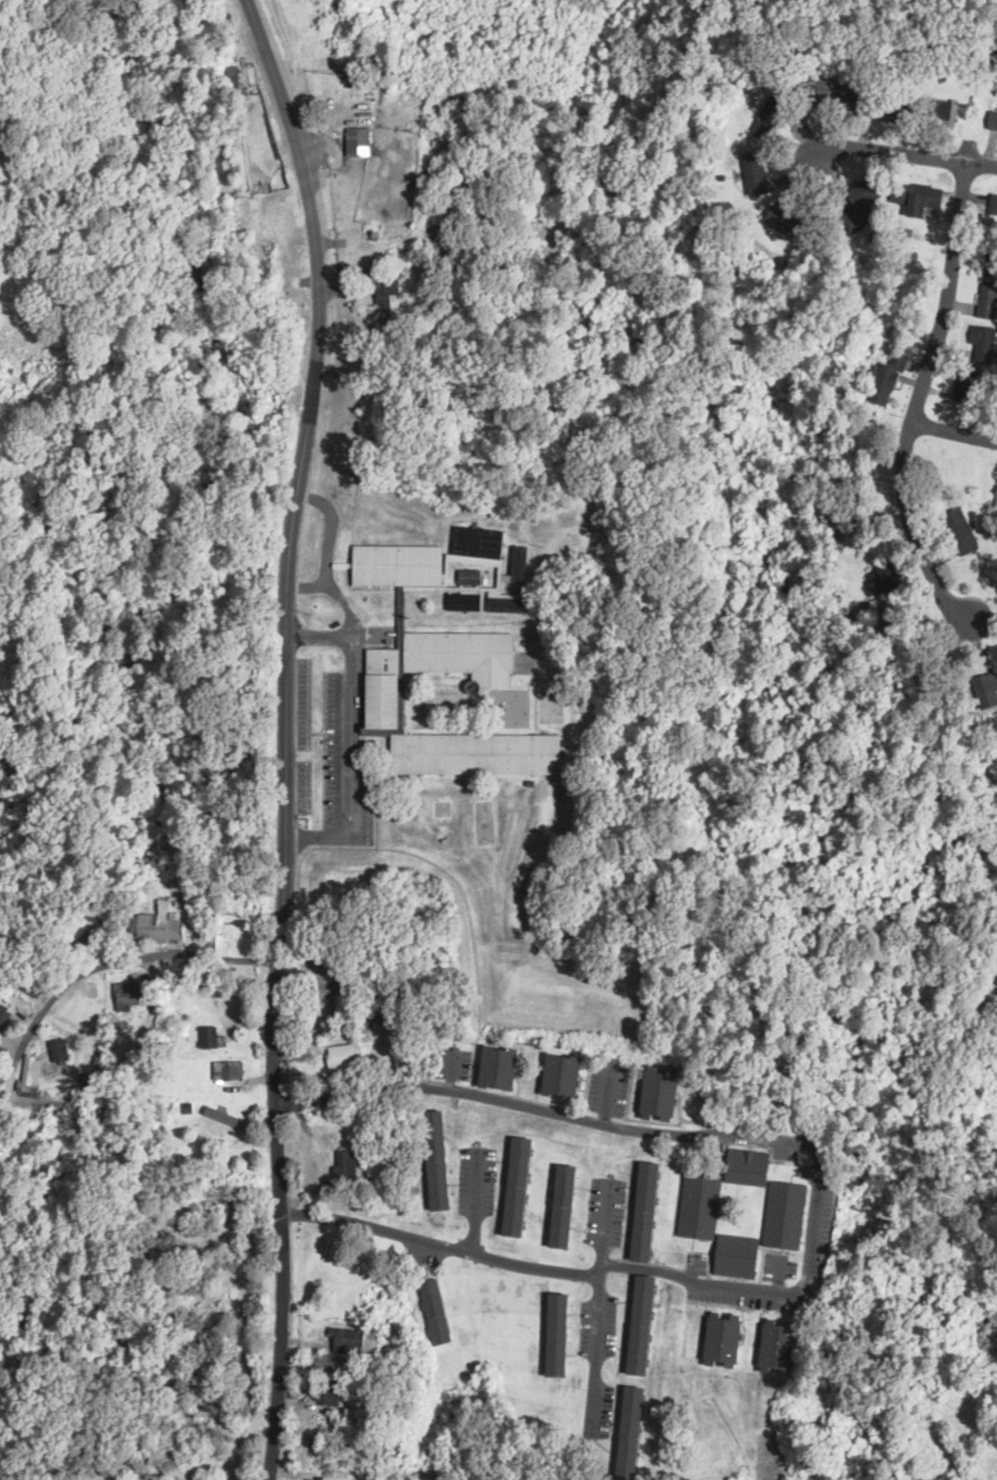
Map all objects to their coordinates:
building: (768, 116)
building: (360, 142)
road: (911, 156)
building: (756, 174)
building: (866, 195)
building: (927, 203)
building: (993, 205)
building: (40, 209)
building: (787, 222)
building: (991, 260)
building: (987, 300)
building: (975, 363)
building: (892, 381)
road: (920, 400)
road: (956, 430)
building: (962, 532)
building: (412, 573)
building: (386, 702)
road: (284, 734)
building: (158, 926)
road: (134, 980)
building: (36, 985)
building: (129, 993)
building: (6, 1017)
building: (209, 1037)
building: (61, 1049)
building: (343, 1055)
building: (499, 1067)
road: (449, 1069)
building: (227, 1071)
building: (562, 1074)
building: (34, 1075)
building: (86, 1081)
building: (661, 1093)
road: (603, 1094)
building: (226, 1119)
building: (438, 1160)
building: (346, 1166)
building: (519, 1187)
building: (772, 1196)
road: (472, 1202)
building: (697, 1204)
building: (564, 1206)
building: (646, 1212)
road: (814, 1212)
building: (739, 1256)
road: (779, 1278)
road: (595, 1309)
building: (560, 1314)
building: (434, 1316)
building: (643, 1325)
building: (726, 1338)
building: (348, 1341)
building: (785, 1345)
building: (332, 1364)
building: (635, 1433)

